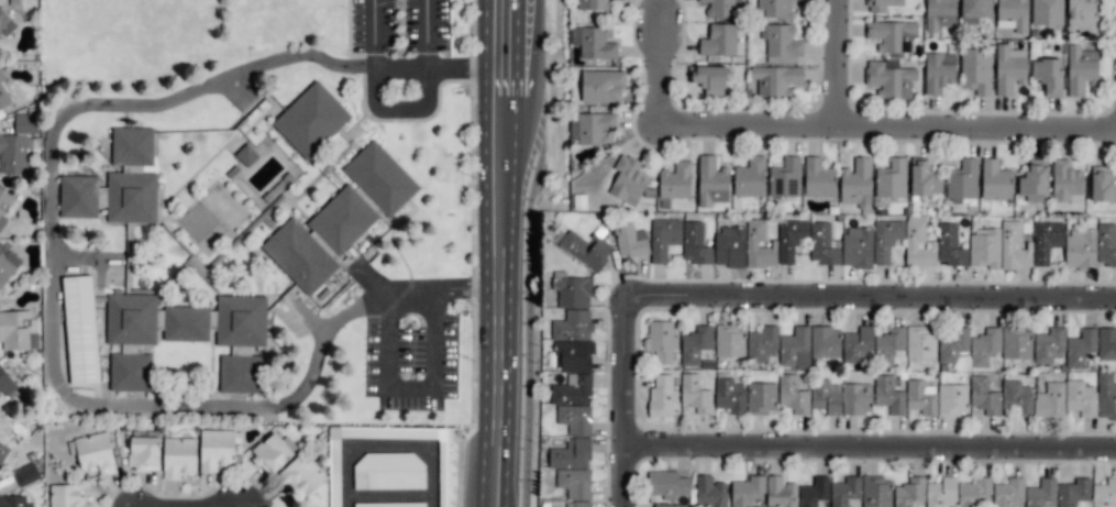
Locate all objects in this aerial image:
building: (593, 4)
building: (882, 5)
building: (775, 8)
building: (721, 9)
building: (974, 10)
building: (1047, 12)
building: (1082, 13)
building: (940, 14)
building: (1013, 14)
building: (5, 23)
building: (892, 36)
building: (719, 40)
building: (780, 41)
building: (593, 42)
road: (531, 55)
road: (399, 66)
road: (839, 67)
building: (1009, 68)
building: (975, 69)
building: (1081, 69)
building: (939, 70)
building: (1048, 75)
road: (662, 78)
building: (709, 78)
building: (891, 79)
building: (776, 80)
building: (601, 86)
building: (3, 95)
building: (310, 120)
building: (25, 123)
building: (590, 126)
road: (888, 135)
building: (132, 145)
building: (13, 154)
building: (246, 155)
building: (750, 177)
road: (51, 178)
building: (379, 178)
building: (785, 178)
building: (818, 178)
building: (891, 178)
building: (924, 178)
building: (628, 179)
building: (675, 180)
building: (995, 180)
building: (1034, 180)
building: (711, 181)
building: (962, 181)
building: (857, 183)
building: (1065, 183)
building: (1102, 183)
building: (110, 197)
building: (4, 205)
building: (342, 220)
building: (663, 238)
building: (629, 239)
building: (789, 239)
building: (885, 239)
building: (1046, 240)
building: (695, 243)
building: (758, 244)
building: (822, 244)
building: (918, 244)
building: (1106, 244)
building: (949, 245)
building: (729, 246)
building: (857, 246)
building: (1013, 246)
building: (984, 247)
building: (586, 249)
building: (1081, 249)
road: (510, 253)
building: (299, 256)
building: (7, 264)
building: (572, 289)
road: (873, 308)
building: (186, 323)
building: (572, 326)
building: (80, 329)
building: (18, 330)
building: (131, 340)
building: (240, 341)
building: (662, 341)
building: (729, 341)
building: (825, 342)
building: (890, 342)
building: (920, 342)
building: (762, 343)
building: (1016, 343)
building: (1106, 343)
building: (695, 344)
building: (858, 344)
building: (953, 344)
building: (1049, 345)
building: (984, 346)
building: (1080, 348)
road: (387, 349)
building: (795, 349)
building: (572, 355)
building: (5, 383)
building: (572, 389)
building: (695, 394)
building: (792, 394)
building: (888, 394)
building: (729, 395)
building: (662, 396)
building: (825, 396)
building: (984, 396)
building: (1105, 396)
building: (761, 397)
building: (920, 397)
building: (1015, 397)
building: (855, 398)
building: (1080, 398)
building: (952, 399)
building: (1050, 400)
road: (630, 407)
building: (574, 418)
road: (388, 442)
building: (216, 449)
building: (3, 451)
building: (273, 451)
building: (95, 452)
building: (143, 452)
building: (570, 454)
building: (178, 456)
road: (873, 456)
building: (389, 471)
building: (25, 474)
building: (301, 475)
building: (334, 480)
building: (442, 483)
building: (574, 483)
building: (667, 484)
building: (747, 491)
building: (709, 492)
building: (781, 492)
building: (814, 492)
building: (875, 492)
building: (909, 492)
building: (973, 492)
building: (1072, 492)
building: (846, 493)
building: (941, 493)
building: (1008, 493)
building: (1041, 494)
building: (1104, 494)
building: (66, 496)
building: (15, 502)
building: (390, 504)
building: (577, 504)
building: (670, 505)

